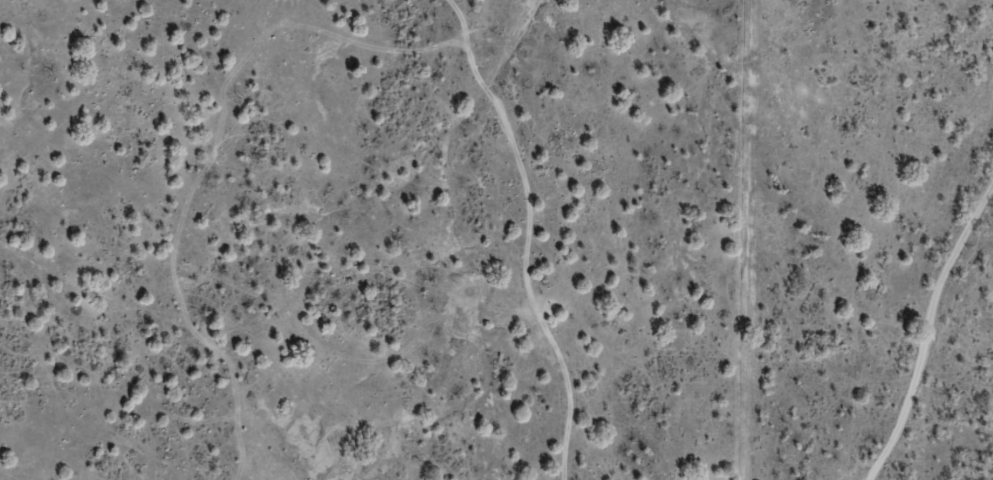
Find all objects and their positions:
road: (931, 358)

